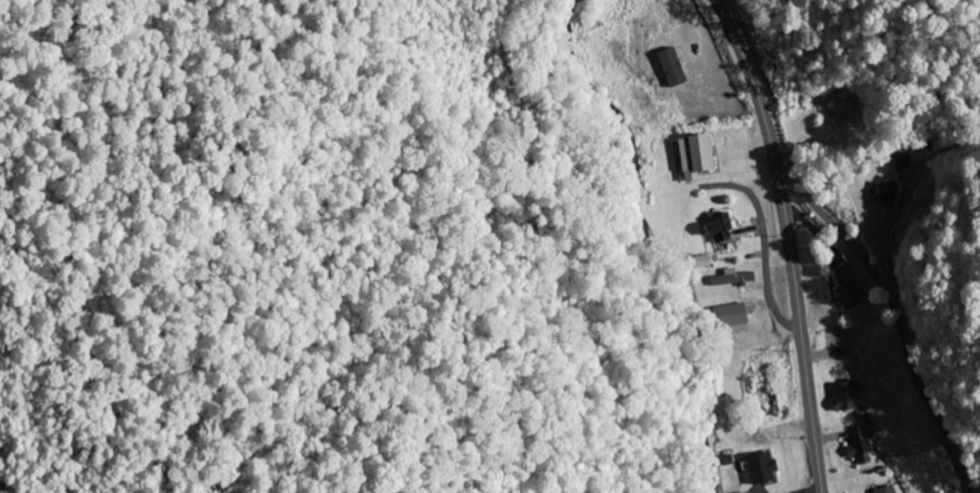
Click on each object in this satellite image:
building: (673, 69)
building: (697, 158)
building: (903, 162)
building: (902, 184)
building: (884, 195)
building: (721, 229)
road: (762, 230)
road: (790, 241)
building: (703, 263)
building: (734, 279)
building: (848, 289)
road: (897, 313)
building: (732, 316)
building: (846, 397)
building: (861, 448)
building: (763, 470)

